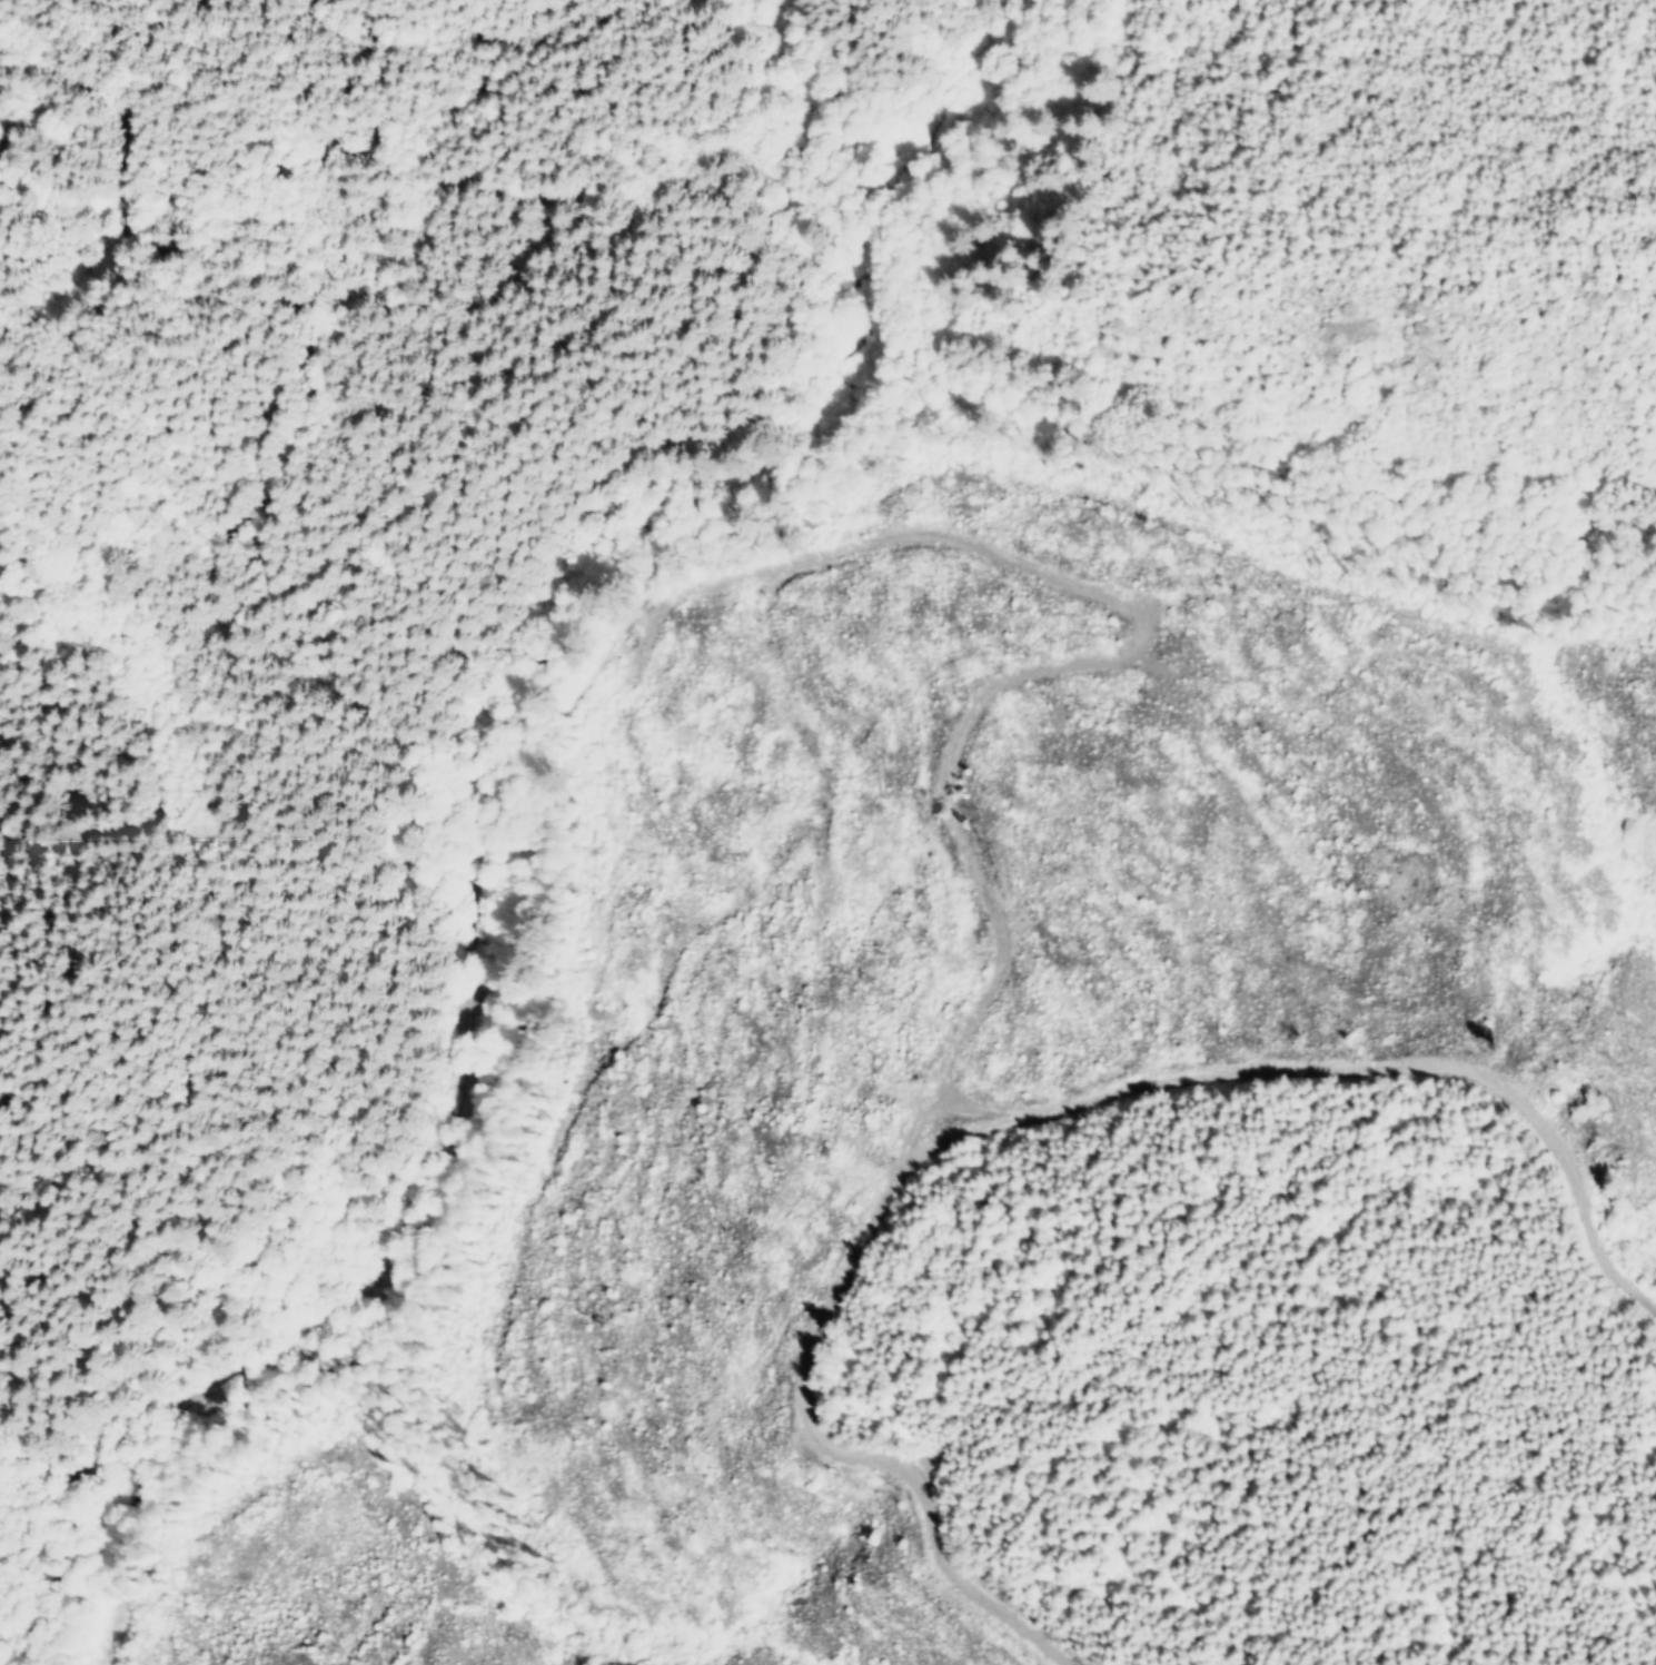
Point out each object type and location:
road: (680, 503)
road: (115, 1570)

